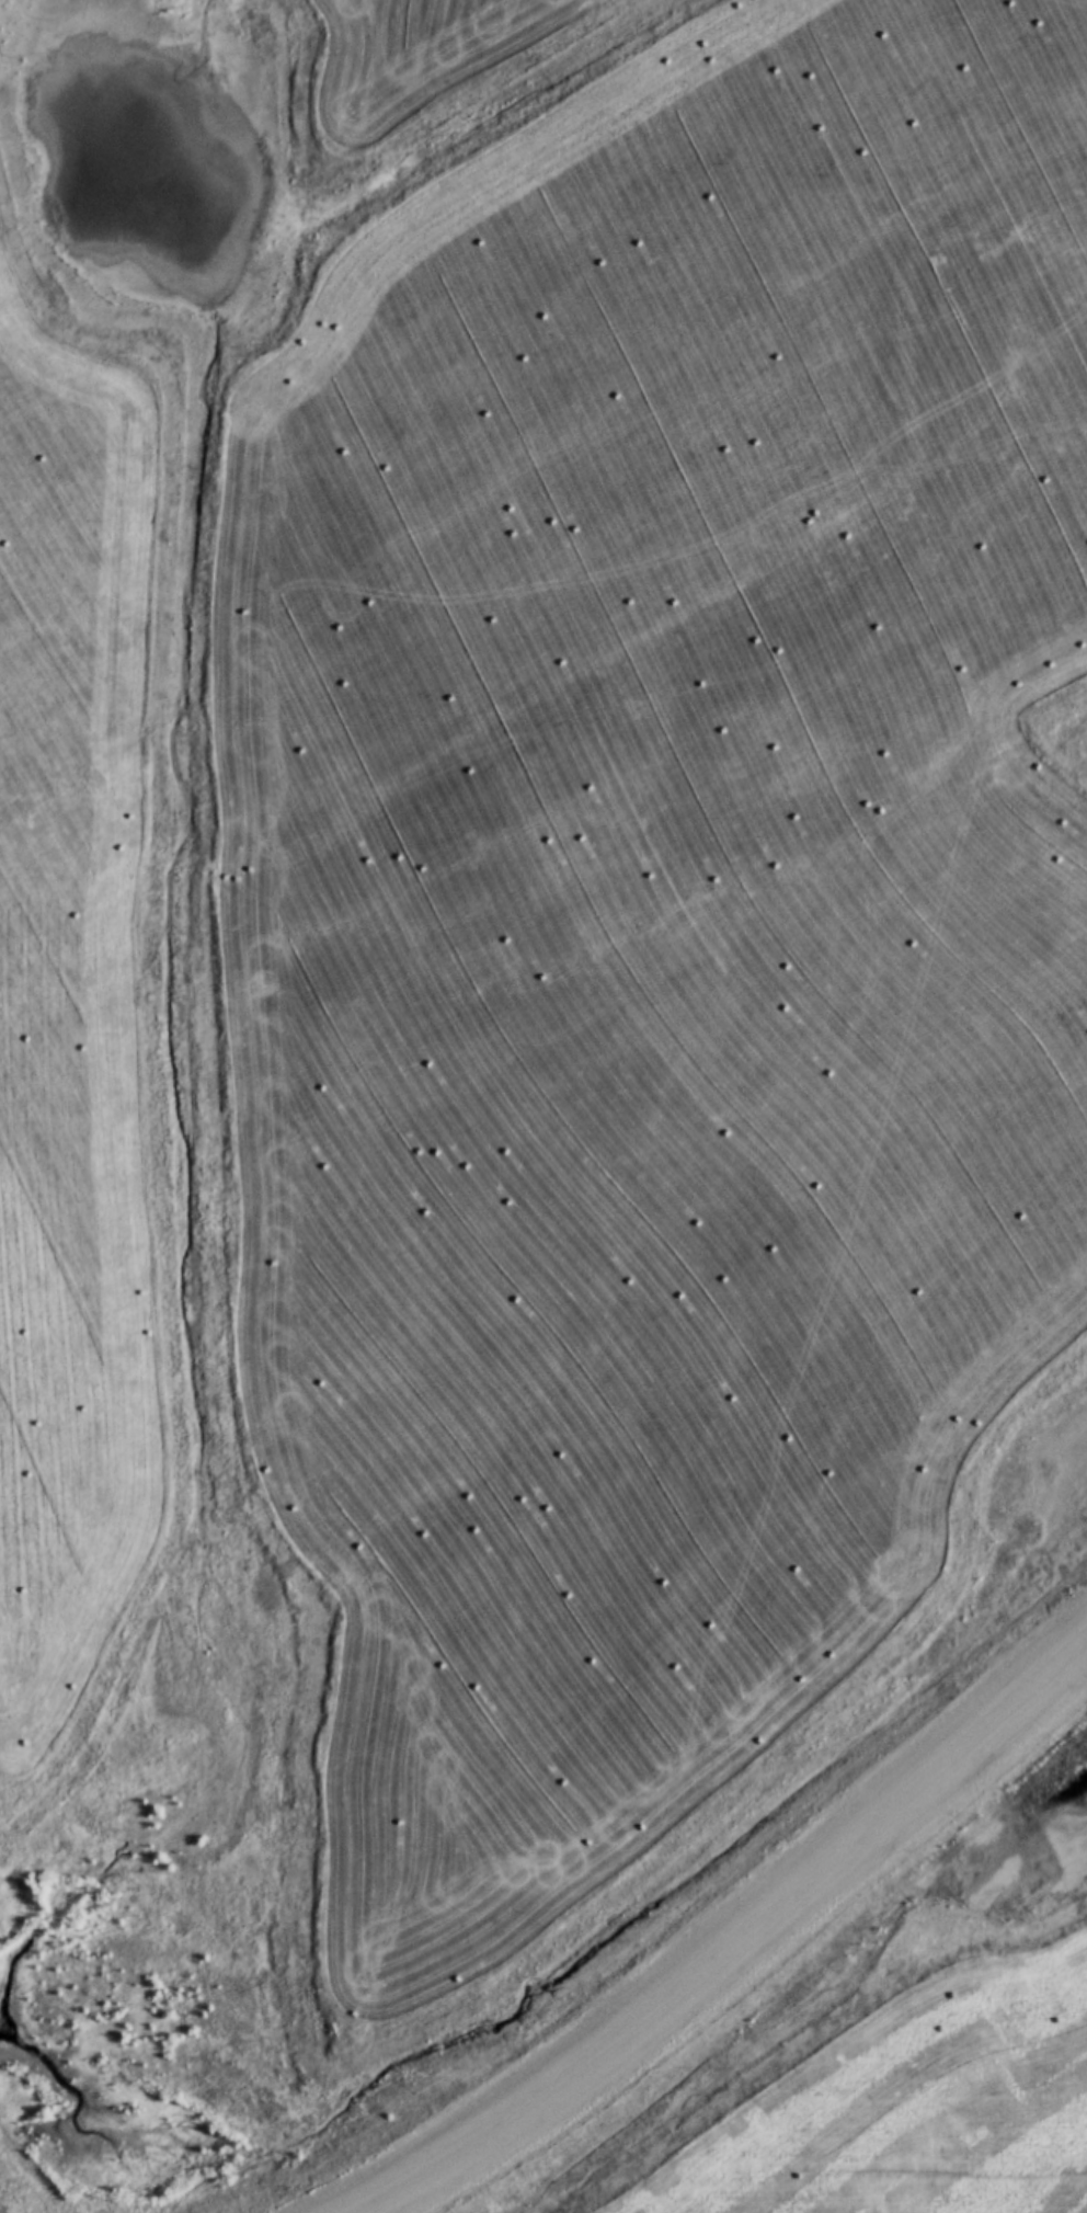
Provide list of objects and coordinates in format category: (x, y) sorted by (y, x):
quarry: (569, 2050)

